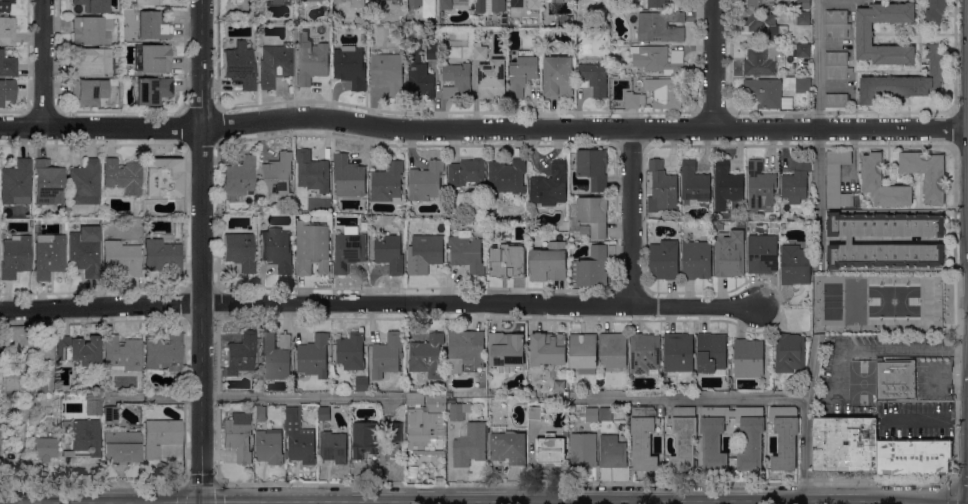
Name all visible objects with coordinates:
building: (316, 0)
building: (390, 0)
building: (465, 0)
building: (339, 1)
building: (146, 2)
building: (401, 2)
building: (515, 2)
building: (360, 3)
building: (414, 3)
building: (657, 3)
building: (677, 3)
building: (760, 3)
building: (803, 3)
building: (446, 4)
building: (535, 4)
building: (582, 4)
building: (5, 5)
building: (93, 5)
building: (490, 5)
building: (222, 11)
building: (935, 11)
building: (803, 18)
building: (529, 20)
building: (562, 20)
building: (579, 22)
building: (836, 23)
building: (128, 24)
building: (764, 25)
building: (152, 26)
building: (659, 26)
building: (92, 30)
building: (7, 31)
building: (864, 34)
building: (432, 50)
building: (803, 50)
building: (480, 51)
building: (152, 59)
building: (311, 59)
building: (658, 59)
building: (760, 60)
building: (91, 62)
road: (43, 63)
road: (713, 63)
building: (836, 64)
building: (274, 65)
building: (7, 66)
building: (239, 66)
building: (350, 66)
building: (388, 72)
building: (522, 72)
building: (594, 75)
building: (419, 76)
building: (557, 77)
building: (491, 78)
building: (456, 80)
building: (906, 80)
building: (803, 85)
building: (6, 91)
building: (151, 91)
building: (89, 92)
building: (664, 92)
building: (763, 92)
building: (632, 100)
building: (836, 100)
road: (483, 129)
road: (819, 131)
building: (593, 167)
building: (312, 171)
building: (466, 172)
building: (926, 173)
building: (276, 175)
building: (162, 176)
building: (348, 176)
building: (507, 176)
building: (120, 178)
building: (239, 178)
building: (836, 179)
building: (426, 181)
building: (387, 182)
building: (796, 182)
building: (871, 182)
building: (16, 183)
building: (48, 183)
building: (84, 183)
building: (693, 183)
building: (550, 185)
building: (726, 185)
building: (760, 186)
building: (661, 187)
building: (108, 213)
building: (590, 217)
road: (631, 217)
building: (719, 226)
building: (849, 240)
building: (312, 247)
road: (201, 249)
building: (276, 249)
building: (348, 249)
building: (84, 251)
building: (240, 251)
building: (466, 251)
building: (425, 252)
building: (390, 253)
building: (730, 253)
building: (762, 253)
building: (14, 256)
building: (48, 256)
building: (162, 256)
building: (120, 259)
building: (663, 259)
building: (507, 260)
building: (696, 260)
building: (795, 264)
building: (547, 265)
building: (591, 268)
building: (931, 301)
road: (378, 302)
road: (902, 346)
building: (548, 348)
building: (506, 349)
building: (351, 350)
building: (78, 351)
building: (465, 351)
building: (613, 351)
building: (583, 352)
building: (645, 352)
building: (678, 352)
building: (789, 352)
building: (426, 353)
building: (711, 353)
building: (121, 354)
building: (164, 354)
building: (240, 354)
building: (276, 355)
building: (387, 355)
building: (313, 357)
building: (748, 357)
building: (93, 377)
road: (947, 377)
building: (895, 378)
building: (362, 383)
building: (15, 384)
building: (559, 385)
building: (39, 386)
road: (252, 396)
road: (720, 397)
building: (29, 398)
building: (413, 398)
building: (532, 398)
building: (436, 401)
building: (92, 407)
building: (457, 411)
building: (260, 413)
building: (324, 413)
building: (535, 413)
building: (605, 413)
building: (110, 414)
building: (592, 414)
road: (925, 419)
building: (48, 424)
building: (519, 427)
building: (425, 429)
building: (395, 431)
building: (566, 432)
building: (83, 435)
building: (160, 435)
building: (714, 436)
building: (750, 436)
building: (785, 436)
building: (238, 437)
building: (299, 437)
building: (643, 437)
building: (364, 438)
building: (683, 438)
building: (121, 444)
building: (470, 444)
building: (845, 444)
building: (269, 446)
building: (334, 446)
building: (508, 446)
road: (805, 447)
building: (550, 448)
building: (44, 449)
building: (583, 449)
building: (613, 450)
building: (913, 456)
road: (200, 480)
road: (759, 481)
road: (92, 483)
road: (297, 483)
road: (953, 484)
road: (100, 498)
road: (228, 498)
road: (272, 498)
road: (619, 498)
traffic signals: (201, 499)
road: (201, 501)
road: (317, 501)

